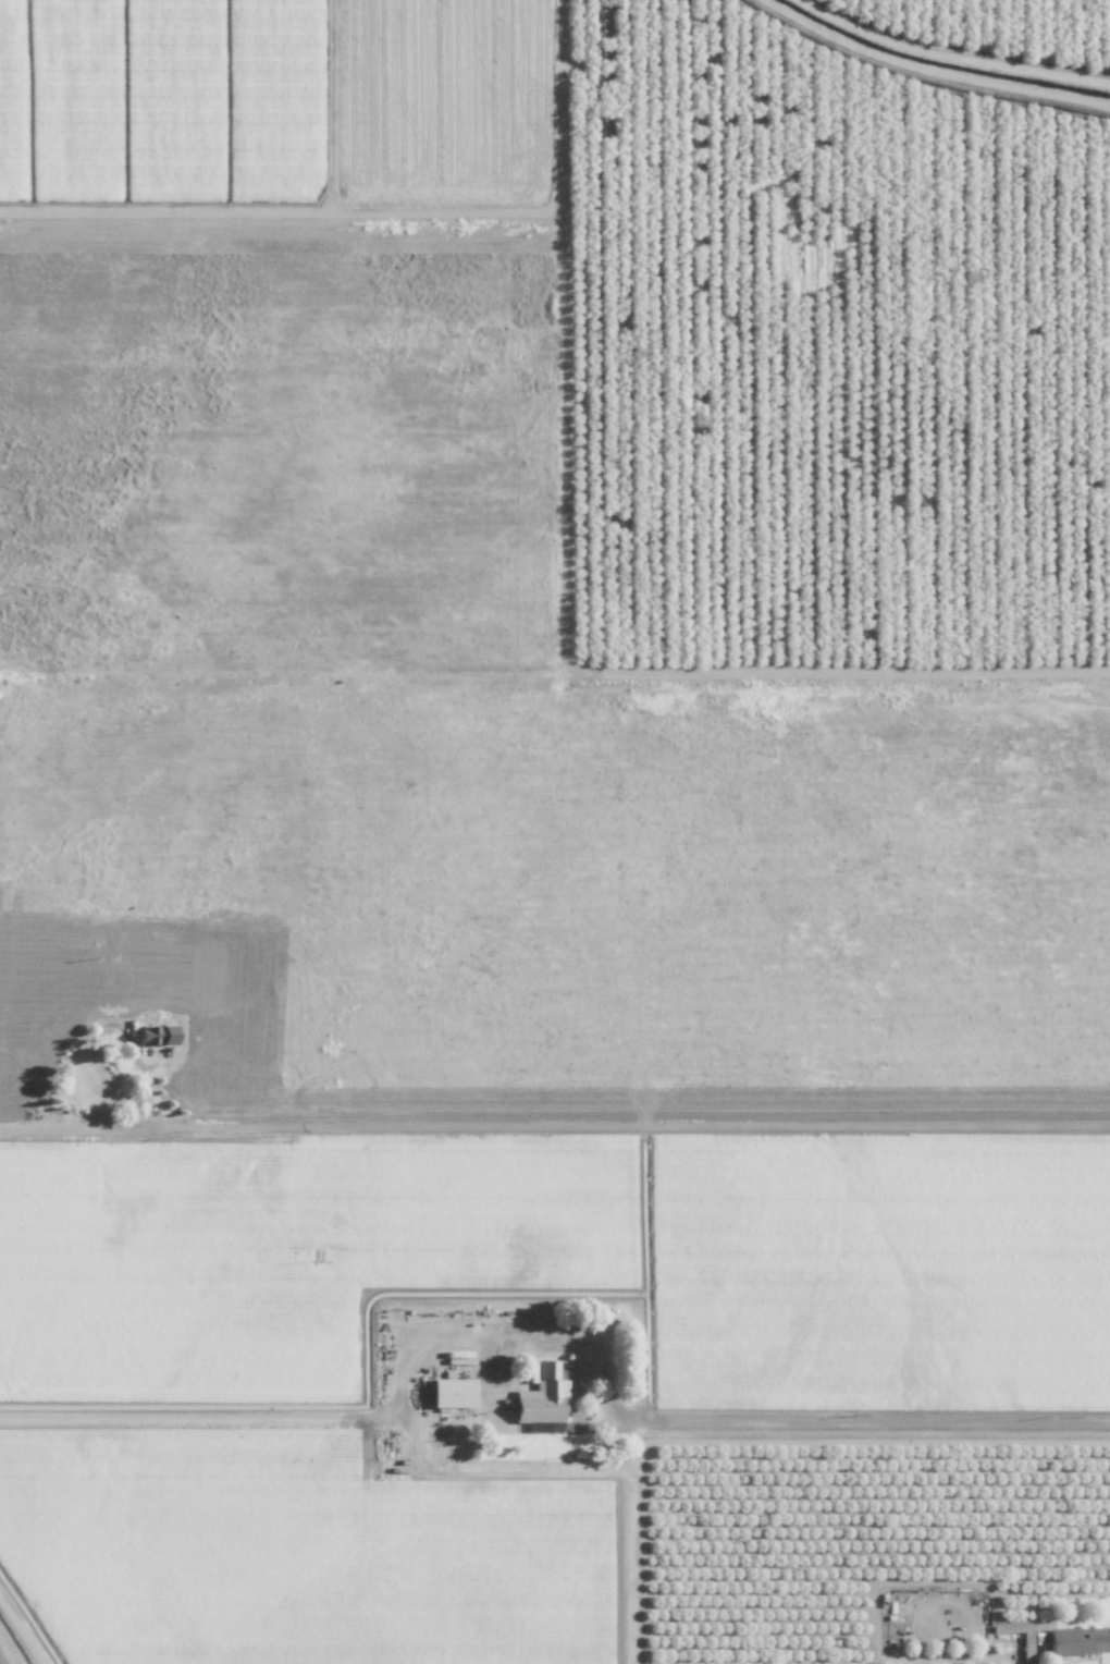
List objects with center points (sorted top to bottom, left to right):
road: (91, 1128)
road: (646, 1131)
building: (453, 1391)
building: (543, 1395)
road: (196, 1417)
road: (858, 1420)
building: (1078, 1639)

